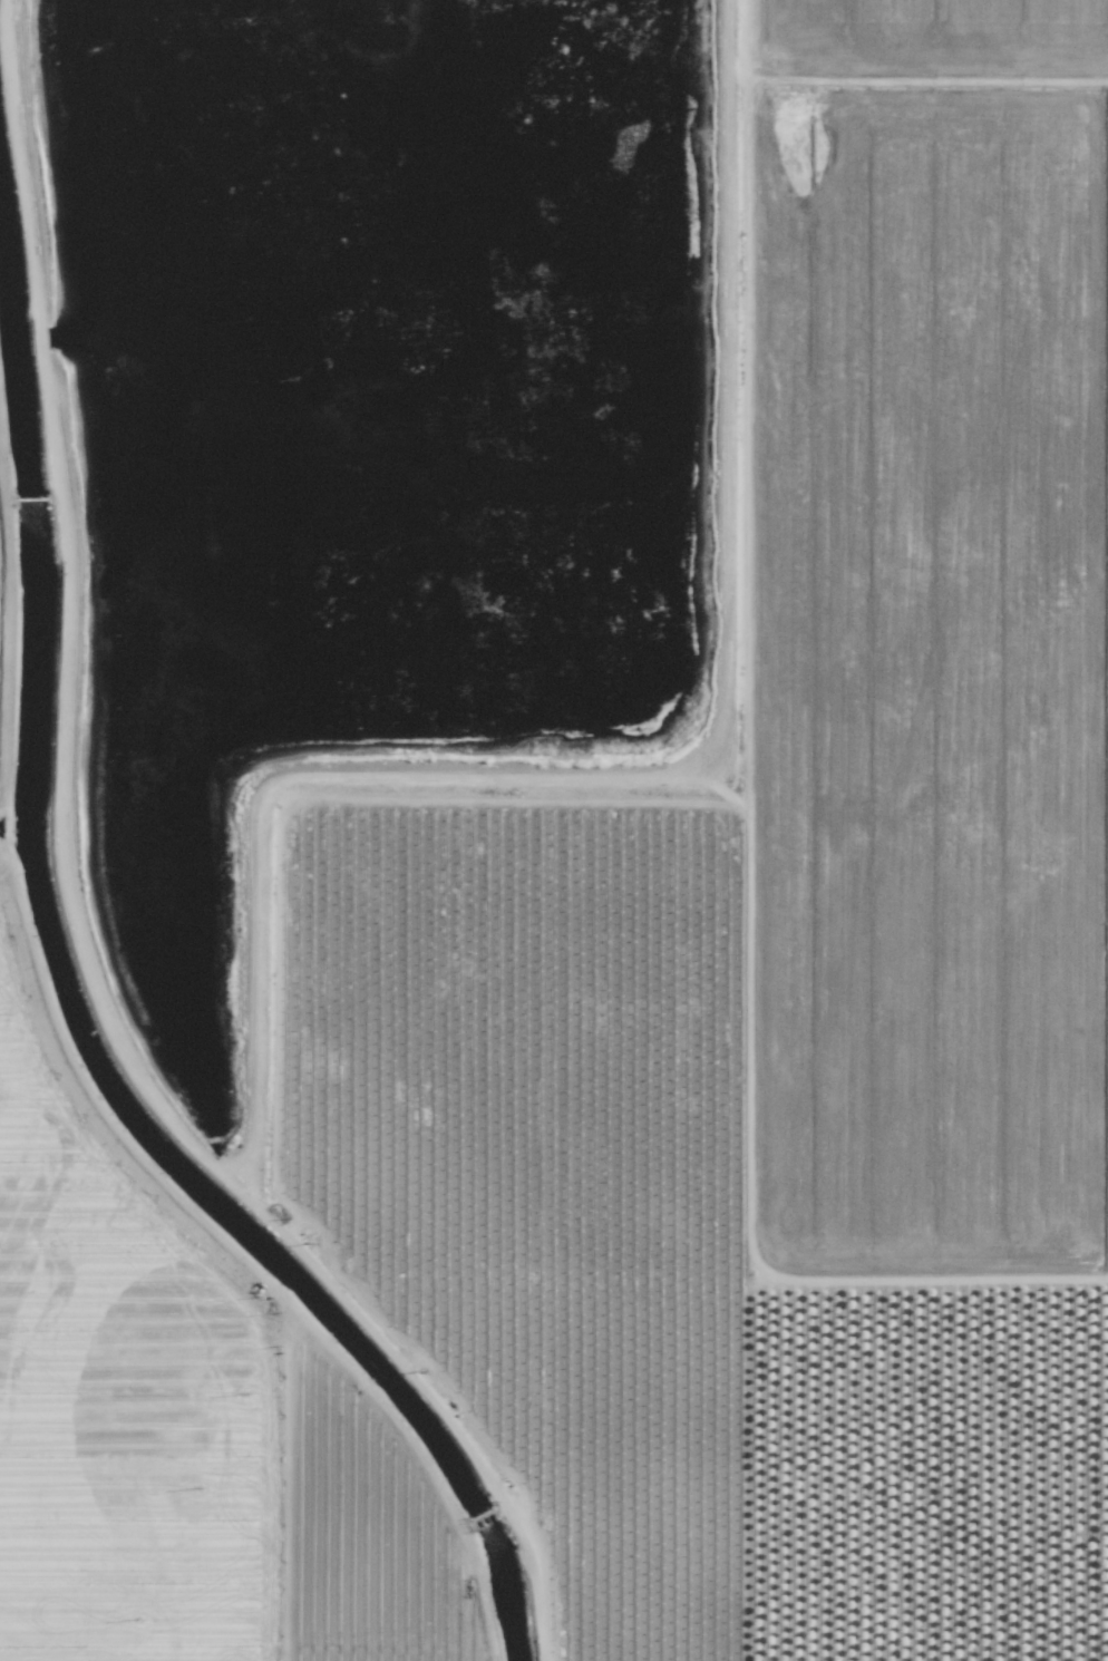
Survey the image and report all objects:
road: (67, 907)
crop: (677, 1026)

